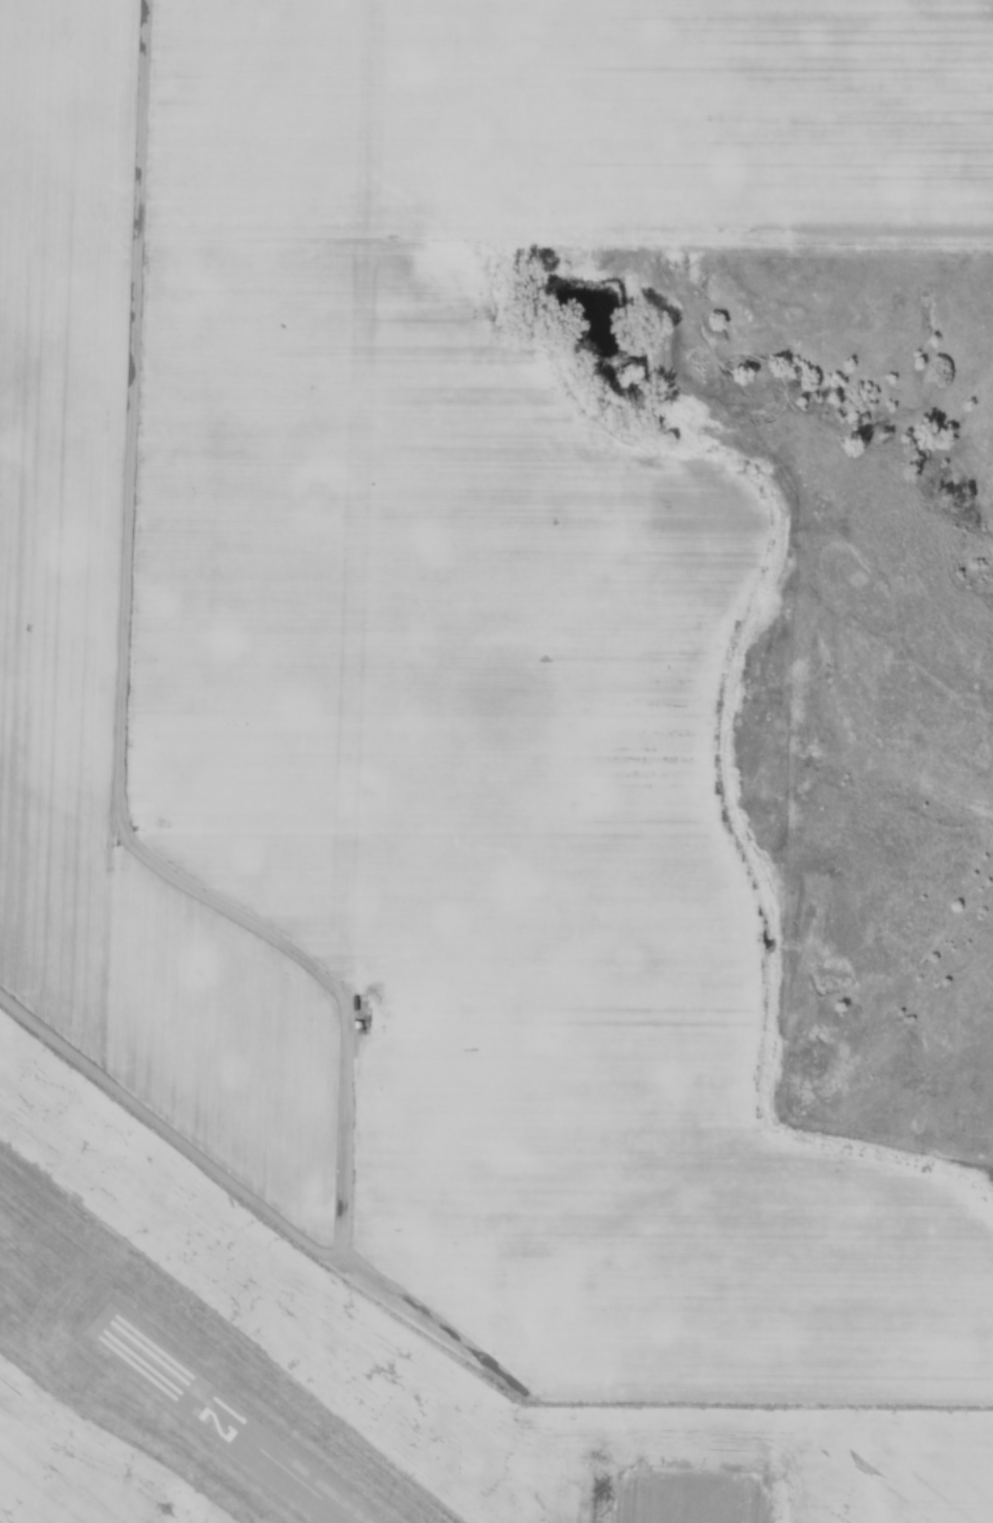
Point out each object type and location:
crop: (577, 111)
crop: (111, 659)
crop: (508, 845)
airport: (333, 1368)
airport runway: (222, 1420)
airport runway: (693, 1496)

